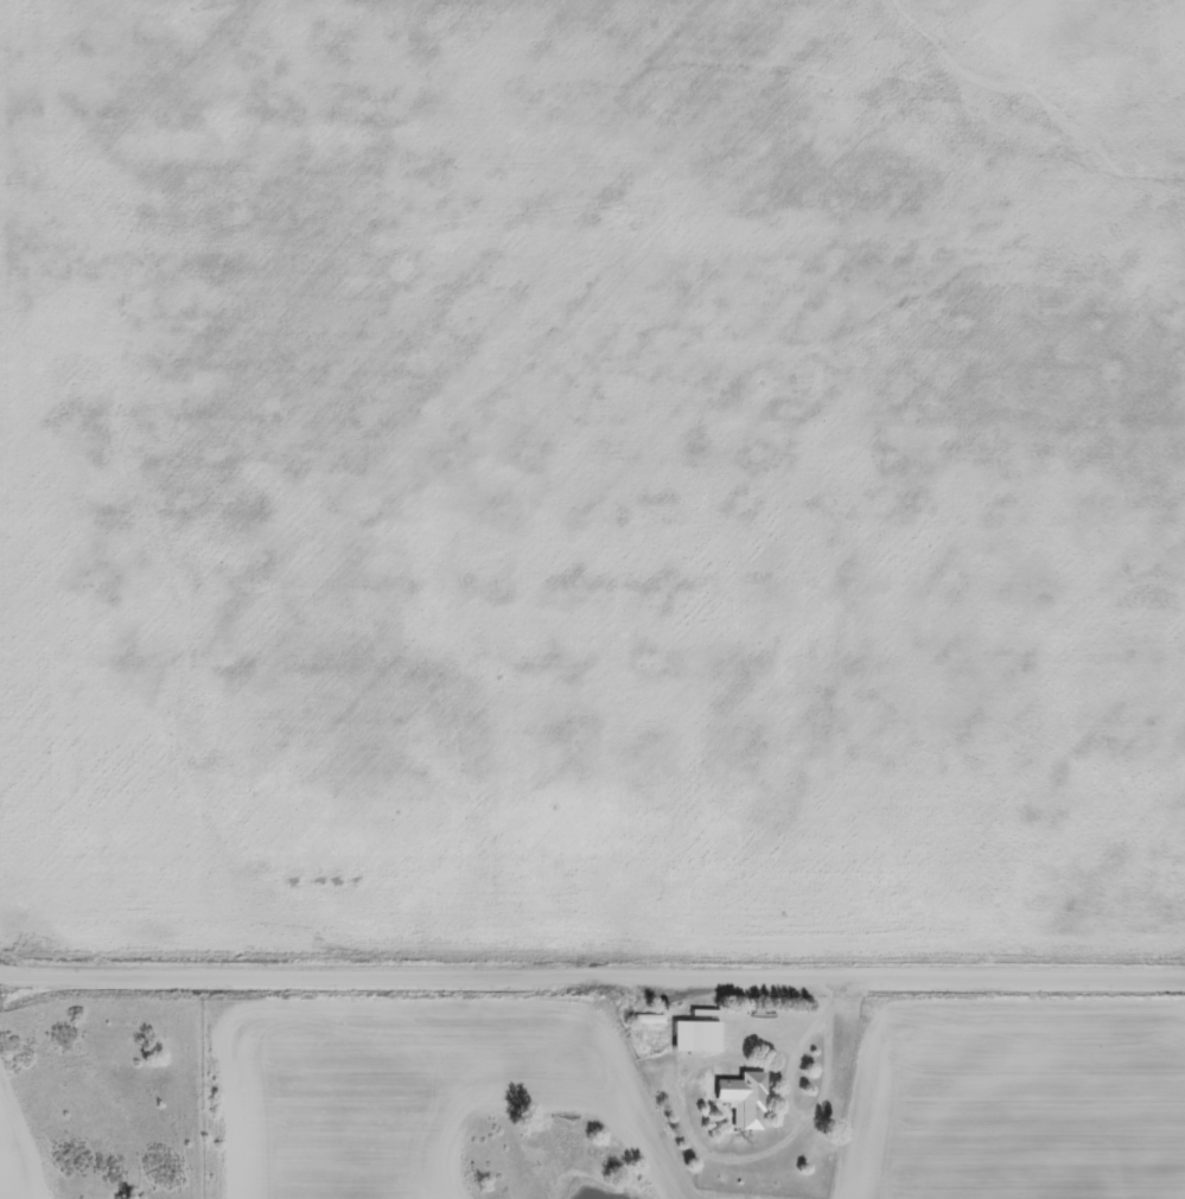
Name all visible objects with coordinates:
road: (592, 974)
building: (702, 1037)
building: (741, 1101)

